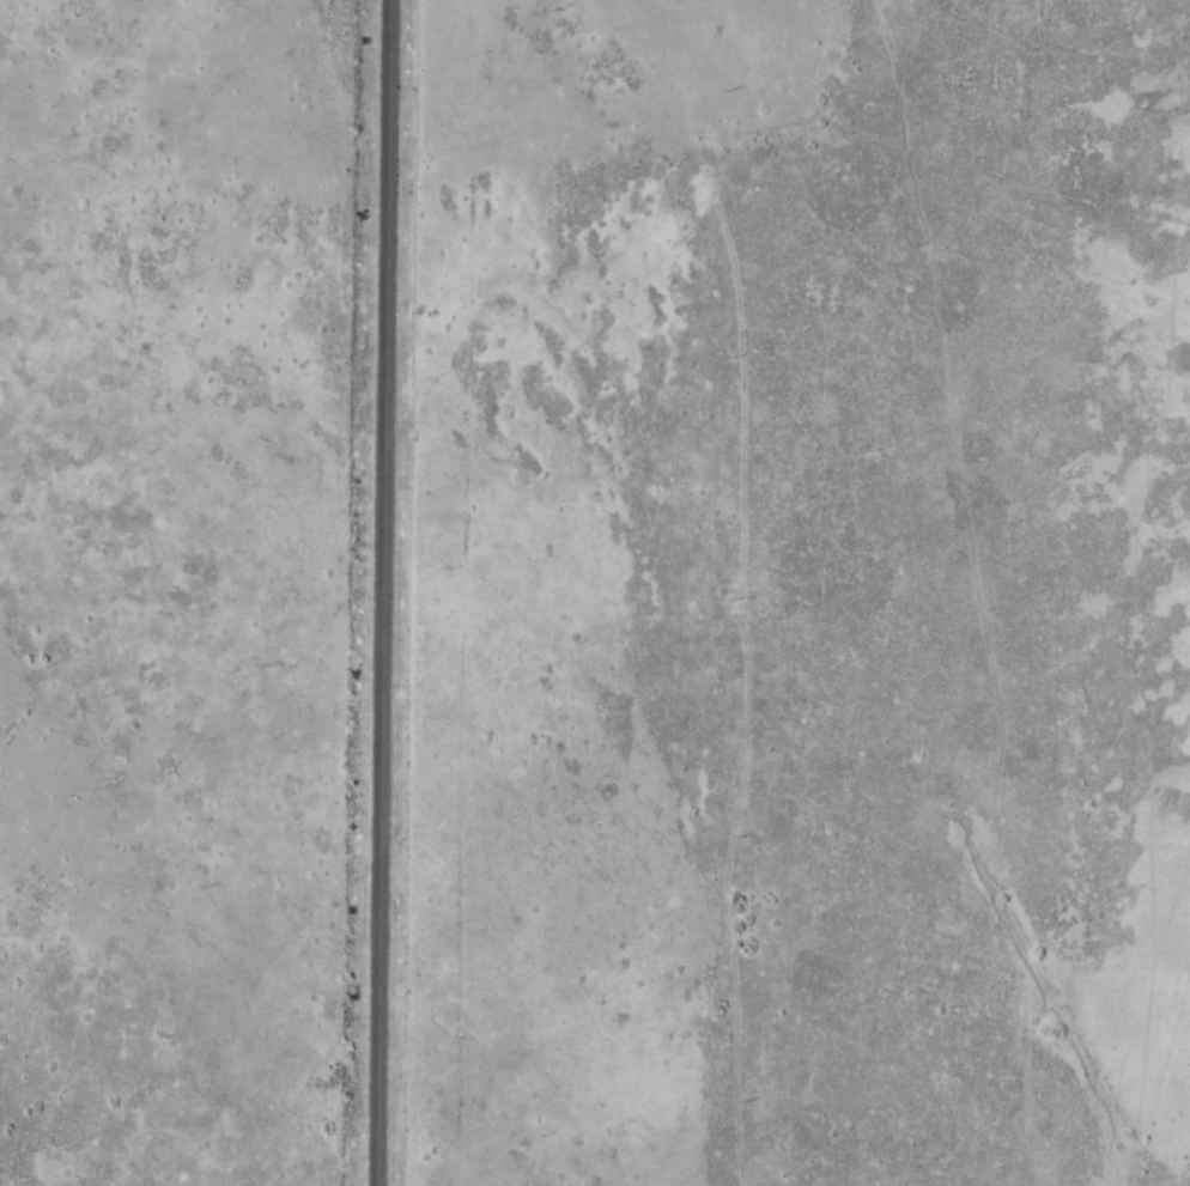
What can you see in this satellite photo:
road: (24, 12)
road: (380, 592)

